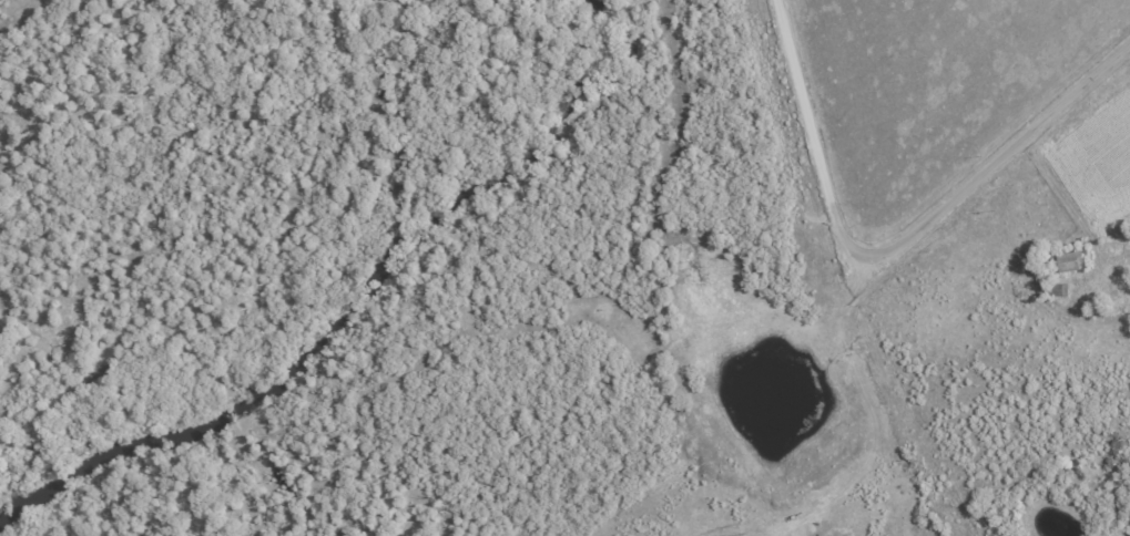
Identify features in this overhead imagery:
road: (896, 248)
road: (883, 405)

